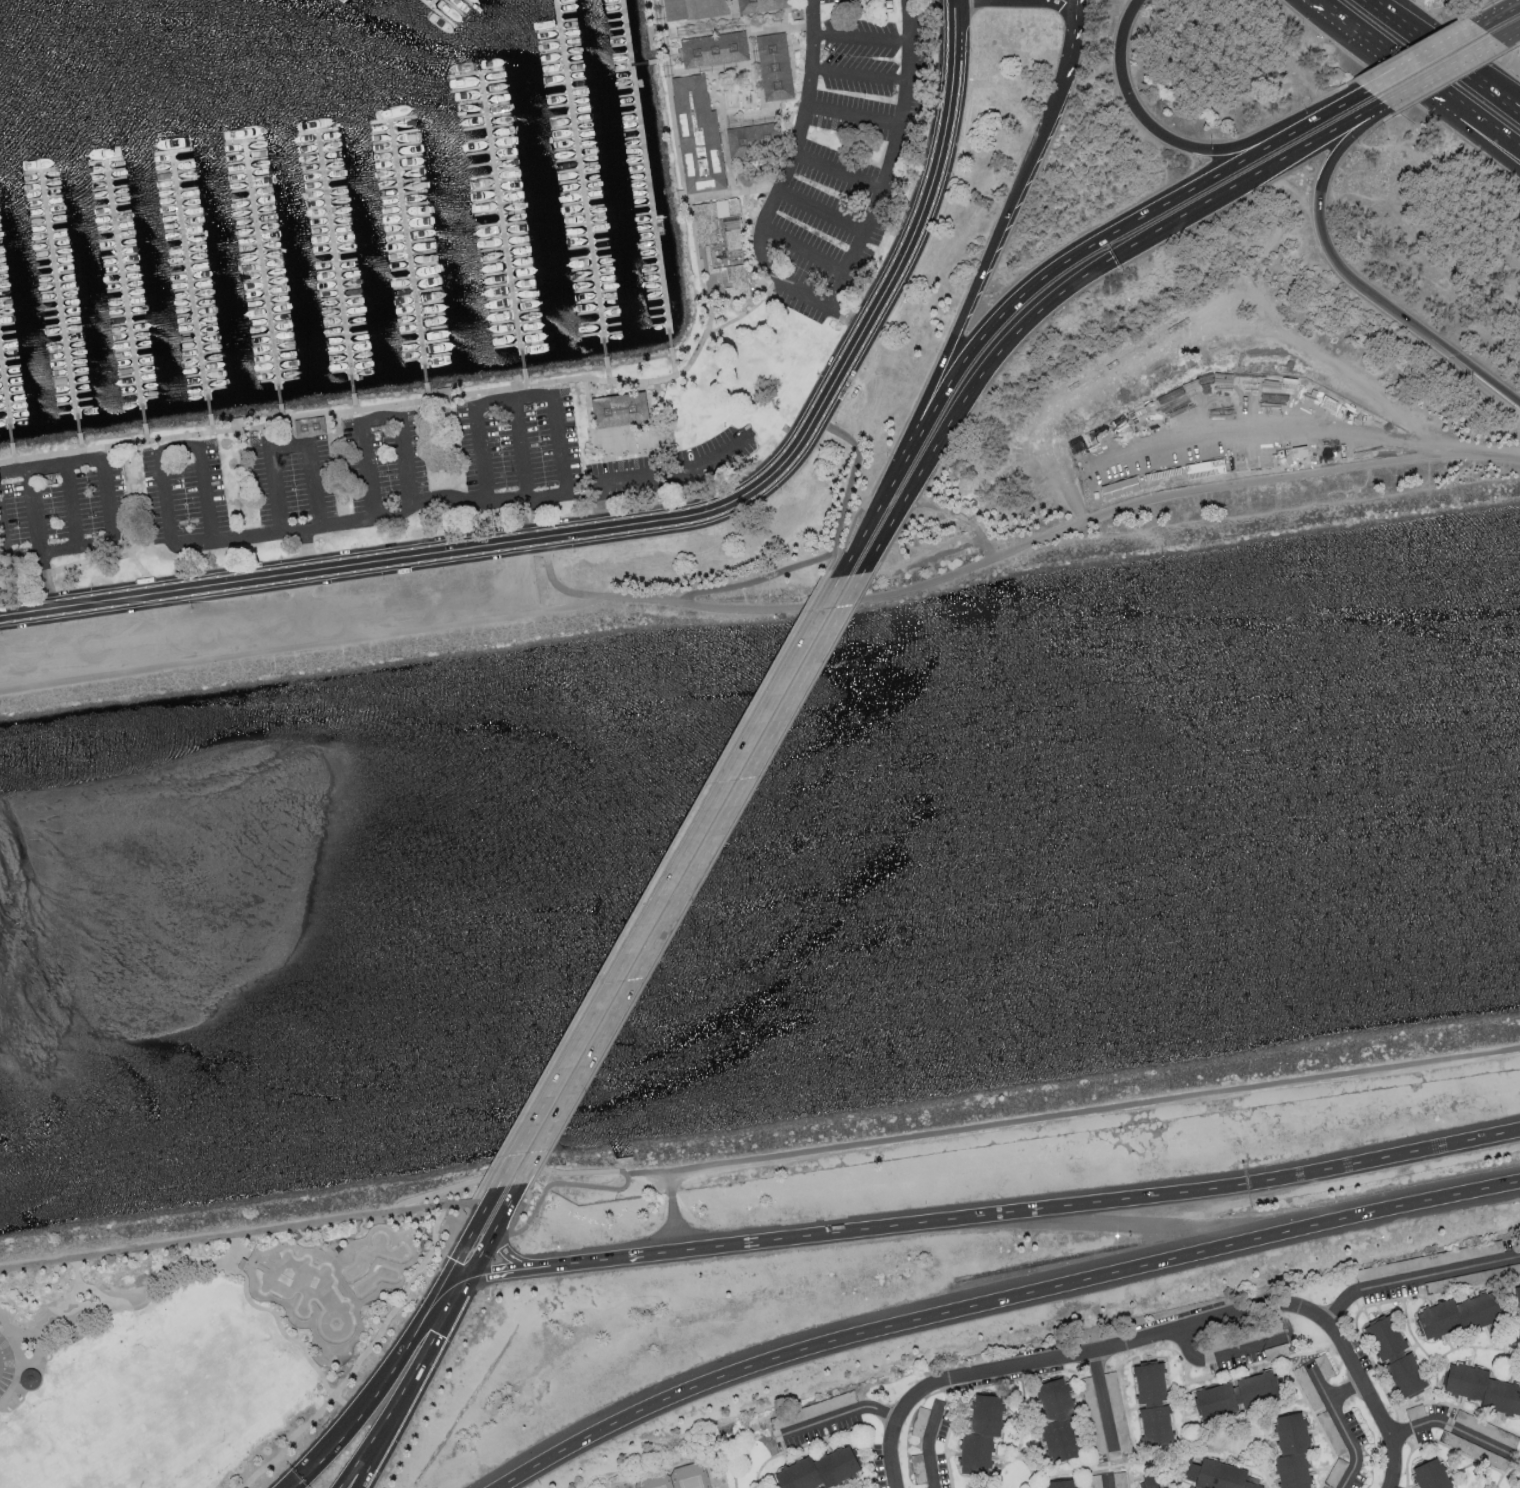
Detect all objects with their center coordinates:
road: (908, 0)
pier: (432, 3)
building: (761, 4)
road: (1315, 6)
road: (1320, 6)
building: (695, 8)
road: (1495, 10)
road: (734, 12)
road: (740, 23)
road: (1507, 33)
road: (859, 38)
road: (1075, 40)
building: (715, 49)
road: (1416, 53)
road: (1446, 56)
road: (656, 60)
pier: (639, 63)
building: (775, 67)
road: (1436, 70)
road: (856, 76)
road: (1418, 80)
road: (1319, 109)
road: (850, 113)
road: (1519, 113)
road: (1519, 113)
road: (1152, 125)
building: (699, 134)
building: (754, 139)
parking lot: (840, 148)
road: (1515, 151)
road: (888, 158)
road: (836, 170)
pier: (646, 172)
pier: (580, 180)
road: (777, 190)
road: (731, 193)
road: (819, 210)
pier: (501, 221)
building: (723, 247)
road: (802, 248)
pier: (408, 252)
pier: (335, 263)
road: (986, 265)
road: (1104, 265)
pier: (262, 273)
road: (1352, 278)
pier: (191, 284)
pier: (124, 292)
road: (1006, 301)
pier: (60, 303)
road: (845, 357)
road: (607, 371)
road: (525, 383)
road: (531, 385)
road: (427, 392)
road: (535, 395)
pier: (6, 401)
road: (586, 404)
road: (353, 408)
building: (622, 411)
road: (281, 413)
road: (211, 425)
road: (145, 433)
road: (266, 437)
road: (199, 439)
building: (635, 440)
road: (287, 444)
road: (518, 446)
road: (402, 447)
road: (80, 448)
road: (671, 450)
road: (12, 452)
road: (100, 458)
road: (649, 473)
road: (848, 483)
building: (1119, 487)
road: (163, 492)
road: (485, 500)
road: (72, 505)
road: (955, 514)
road: (853, 520)
road: (892, 536)
road: (880, 538)
road: (305, 549)
road: (1013, 549)
road: (119, 554)
road: (927, 558)
road: (143, 572)
road: (270, 575)
road: (757, 578)
road: (46, 580)
road: (301, 593)
parking lot: (263, 619)
road: (260, 621)
road: (300, 645)
river: (760, 663)
road: (702, 876)
road: (689, 878)
road: (667, 881)
road: (650, 886)
road: (953, 1129)
road: (551, 1183)
road: (528, 1194)
road: (490, 1195)
road: (1141, 1199)
road: (439, 1205)
road: (505, 1206)
road: (361, 1223)
road: (301, 1232)
road: (197, 1239)
road: (461, 1247)
road: (235, 1248)
road: (700, 1251)
road: (479, 1253)
road: (516, 1260)
road: (598, 1262)
road: (197, 1266)
building: (1386, 1268)
road: (510, 1273)
road: (1410, 1275)
park: (331, 1279)
traffic signals: (465, 1279)
road: (449, 1283)
road: (90, 1290)
building: (1517, 1300)
road: (1001, 1301)
building: (1456, 1314)
road: (1160, 1331)
road: (436, 1334)
road: (298, 1336)
building: (1276, 1350)
park: (201, 1352)
building: (1394, 1355)
road: (36, 1356)
road: (360, 1357)
road: (20, 1358)
road: (1209, 1359)
parking lot: (5, 1365)
building: (1324, 1365)
building: (31, 1379)
road: (1318, 1381)
building: (1111, 1384)
building: (1307, 1386)
building: (1481, 1387)
road: (368, 1394)
building: (1233, 1395)
road: (1102, 1399)
building: (1152, 1402)
building: (1092, 1411)
building: (1414, 1411)
road: (837, 1413)
building: (1055, 1419)
building: (919, 1420)
road: (391, 1421)
road: (1449, 1425)
road: (1342, 1426)
building: (1486, 1427)
building: (1331, 1431)
building: (979, 1434)
road: (374, 1438)
road: (927, 1444)
building: (1473, 1449)
building: (1291, 1450)
building: (817, 1469)
road: (366, 1470)
building: (1335, 1471)
building: (1430, 1474)
building: (920, 1475)
building: (1218, 1475)
park: (690, 1477)
building: (1120, 1479)
road: (1107, 1480)
building: (1148, 1480)
park: (655, 1481)
building: (1060, 1483)
park: (1518, 1486)
building: (1166, 1487)

